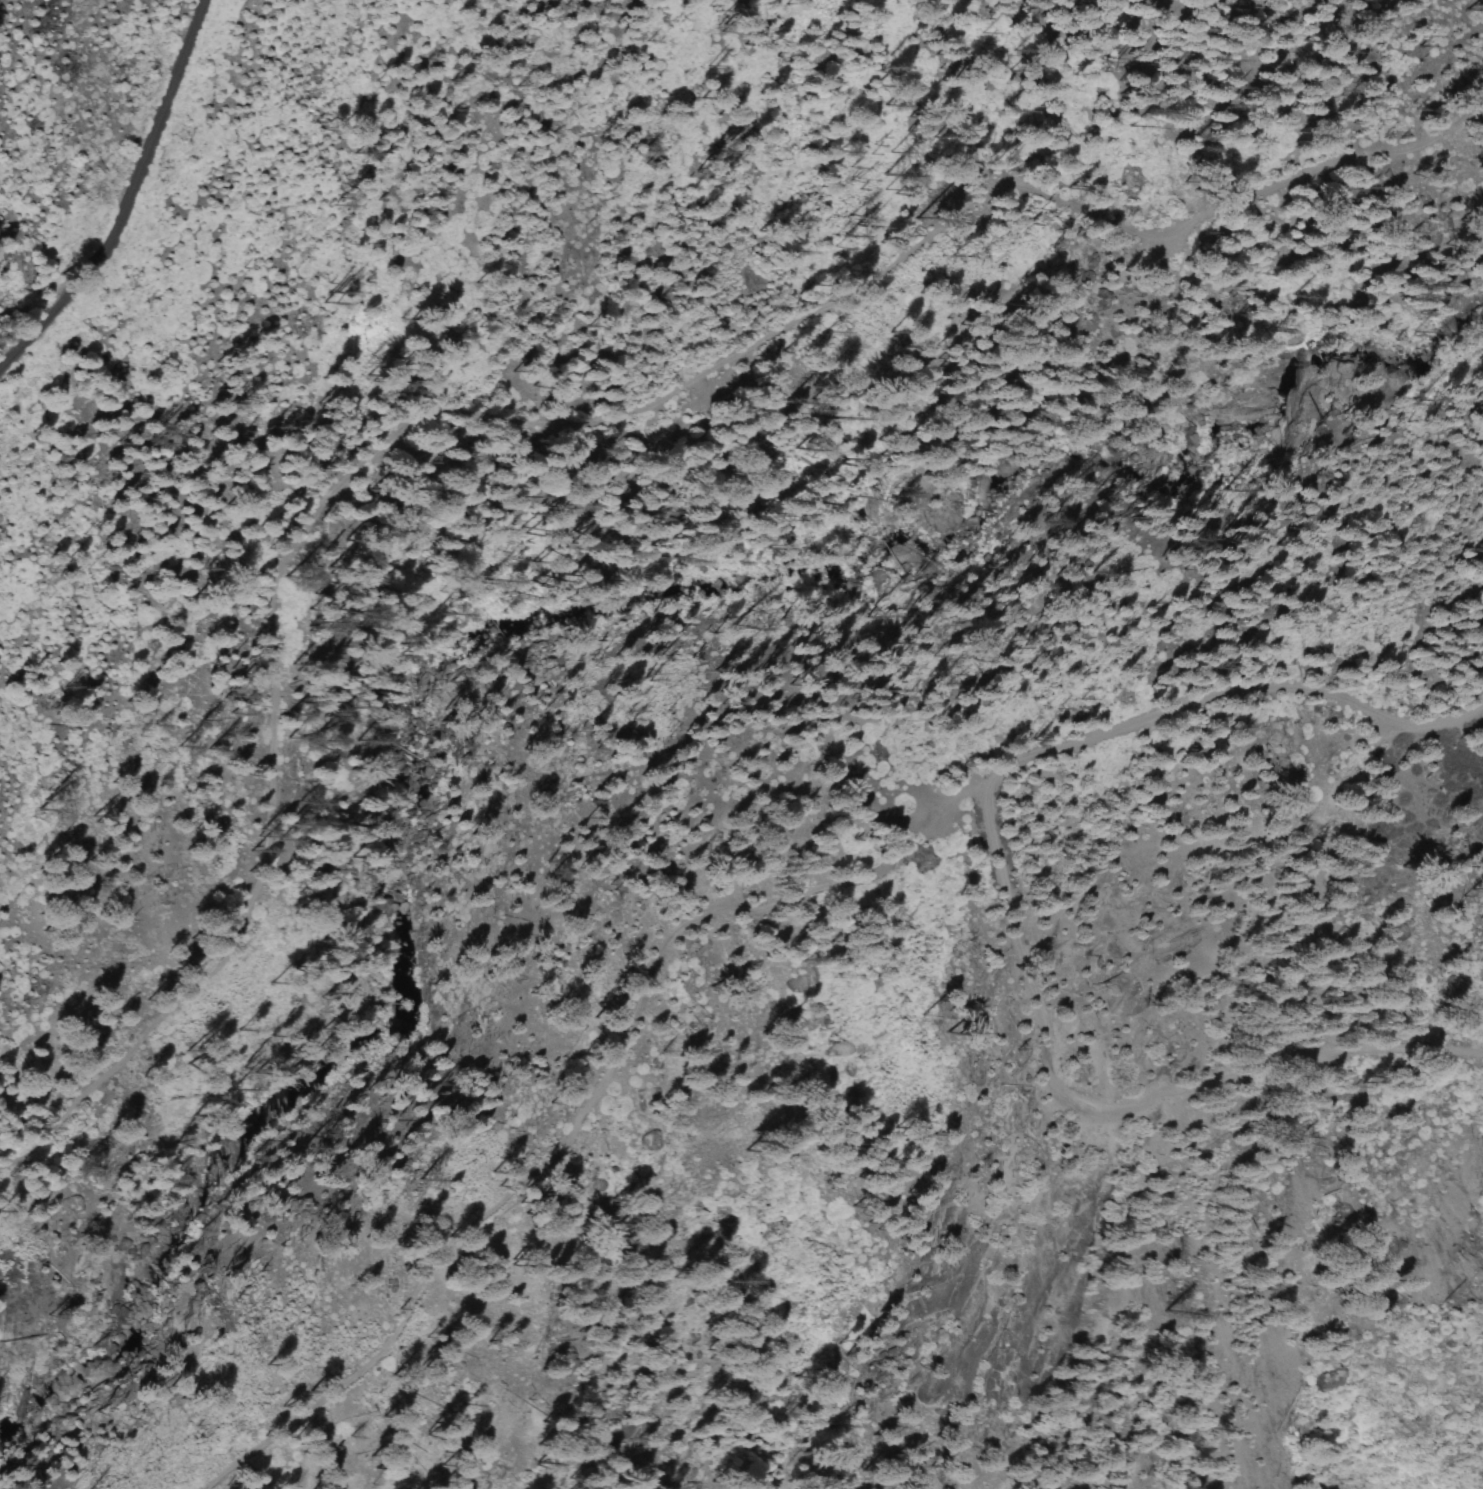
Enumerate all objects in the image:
road: (1316, 167)
road: (127, 196)
river: (501, 658)
road: (1232, 691)
road: (585, 1104)
road: (1110, 1111)

